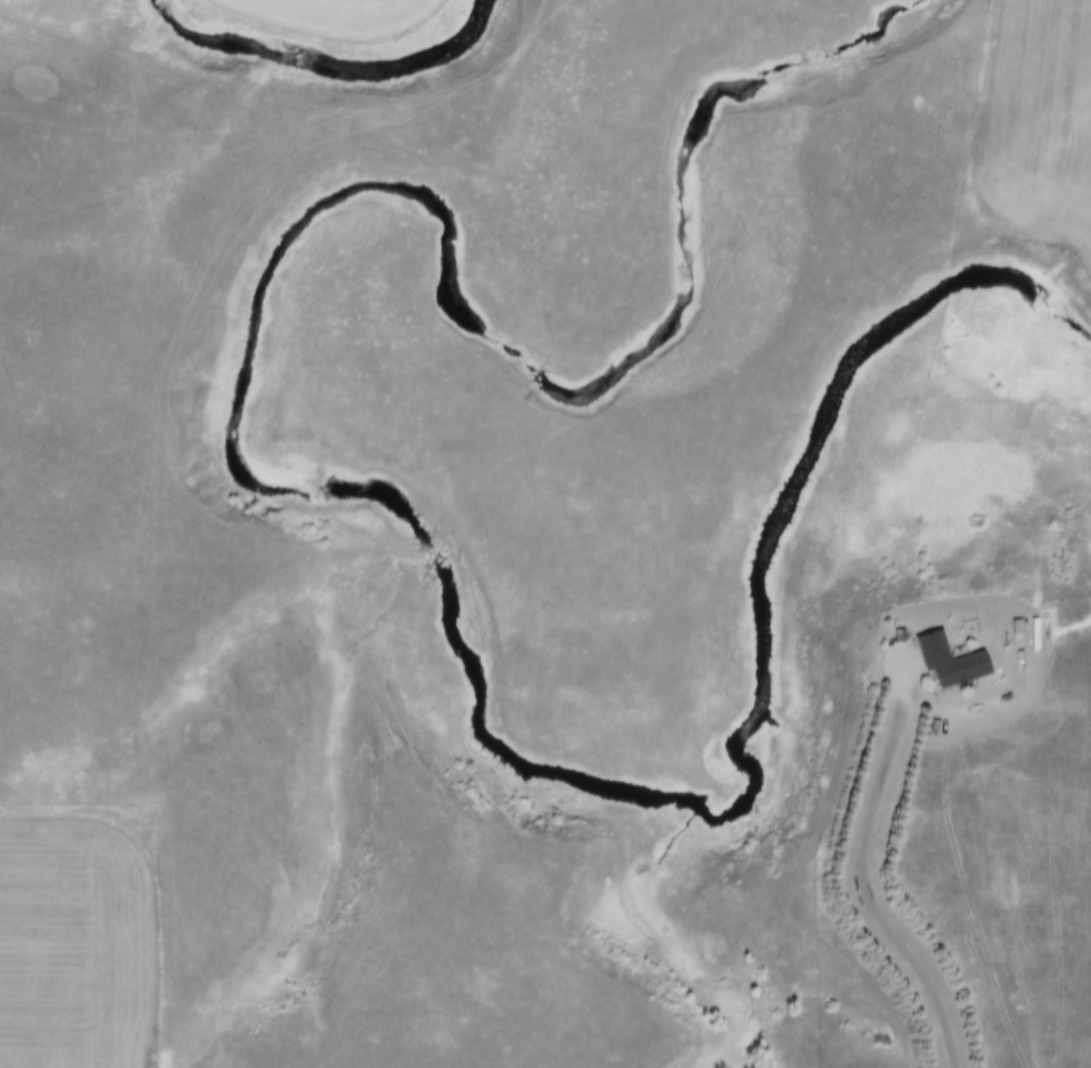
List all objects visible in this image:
building: (953, 652)
road: (861, 884)

